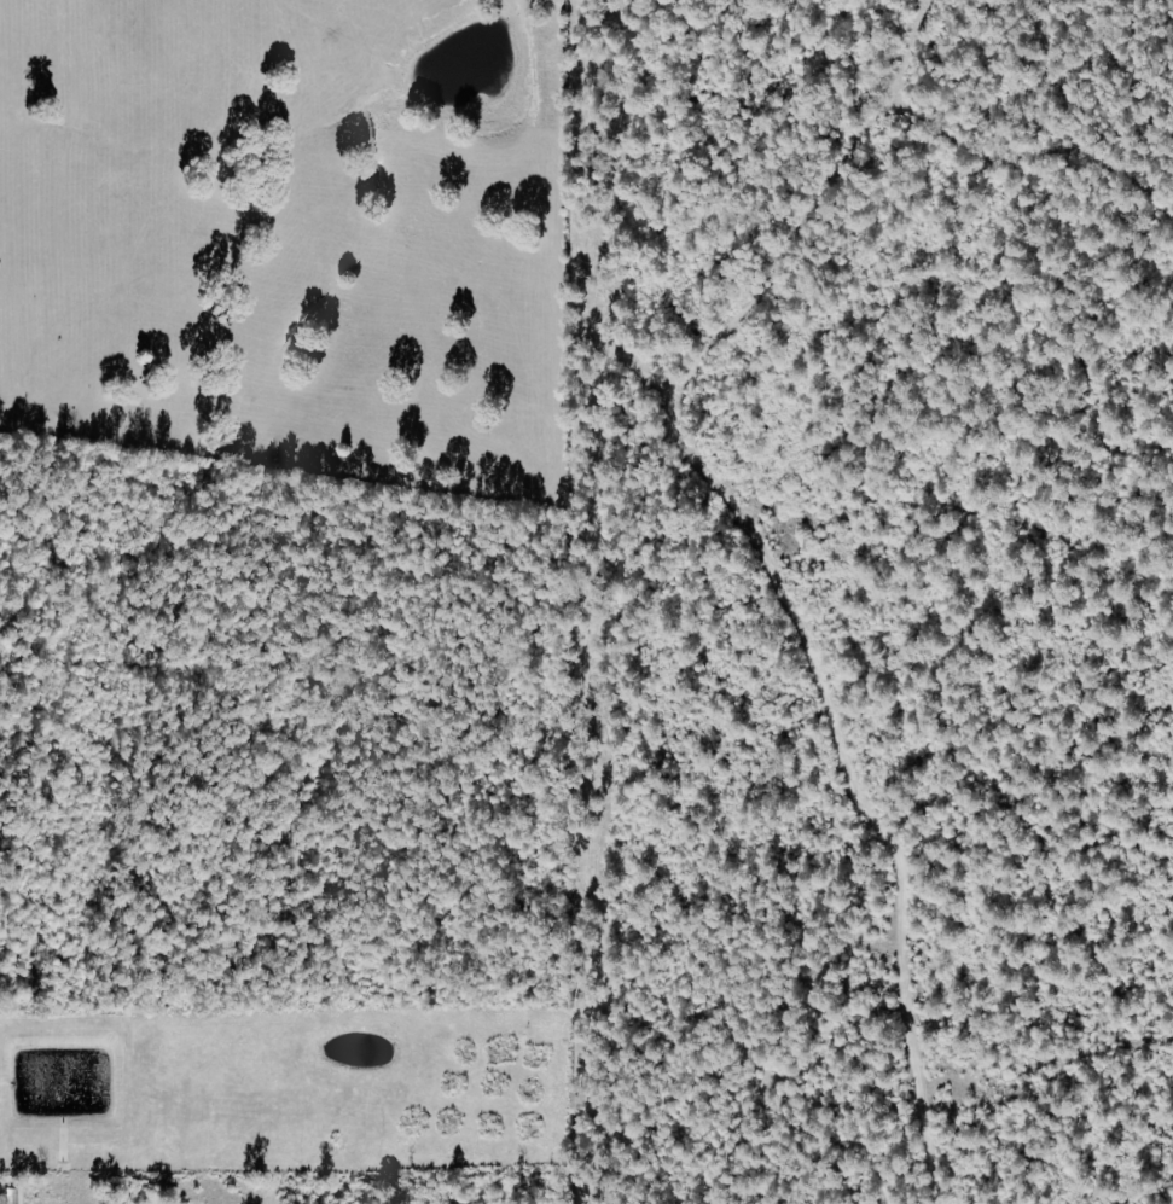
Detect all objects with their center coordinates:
building: (8, 1196)

